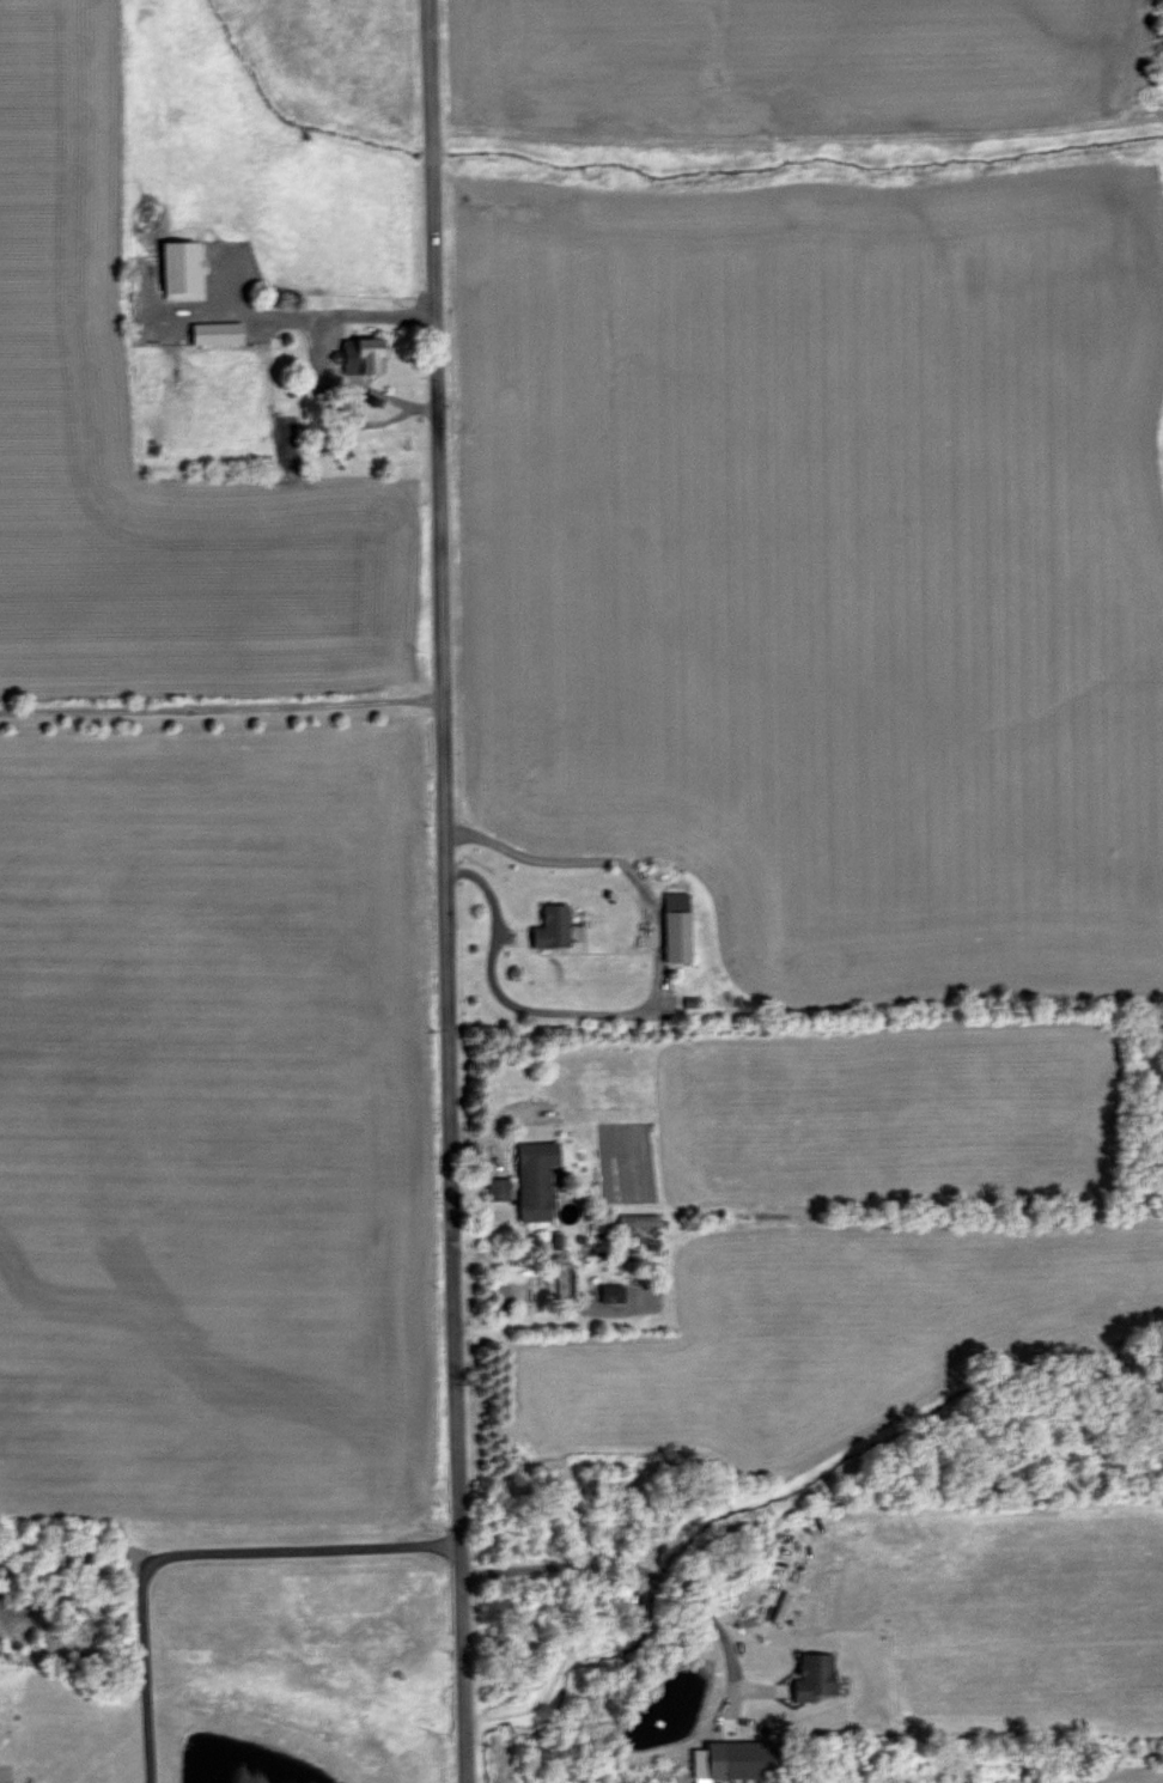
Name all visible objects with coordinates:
building: (182, 267)
road: (325, 315)
building: (217, 330)
building: (348, 348)
building: (369, 352)
road: (220, 707)
road: (444, 891)
building: (552, 925)
building: (677, 925)
building: (535, 1177)
building: (498, 1187)
building: (637, 1218)
building: (611, 1292)
road: (190, 1551)
road: (647, 1568)
building: (735, 1757)

